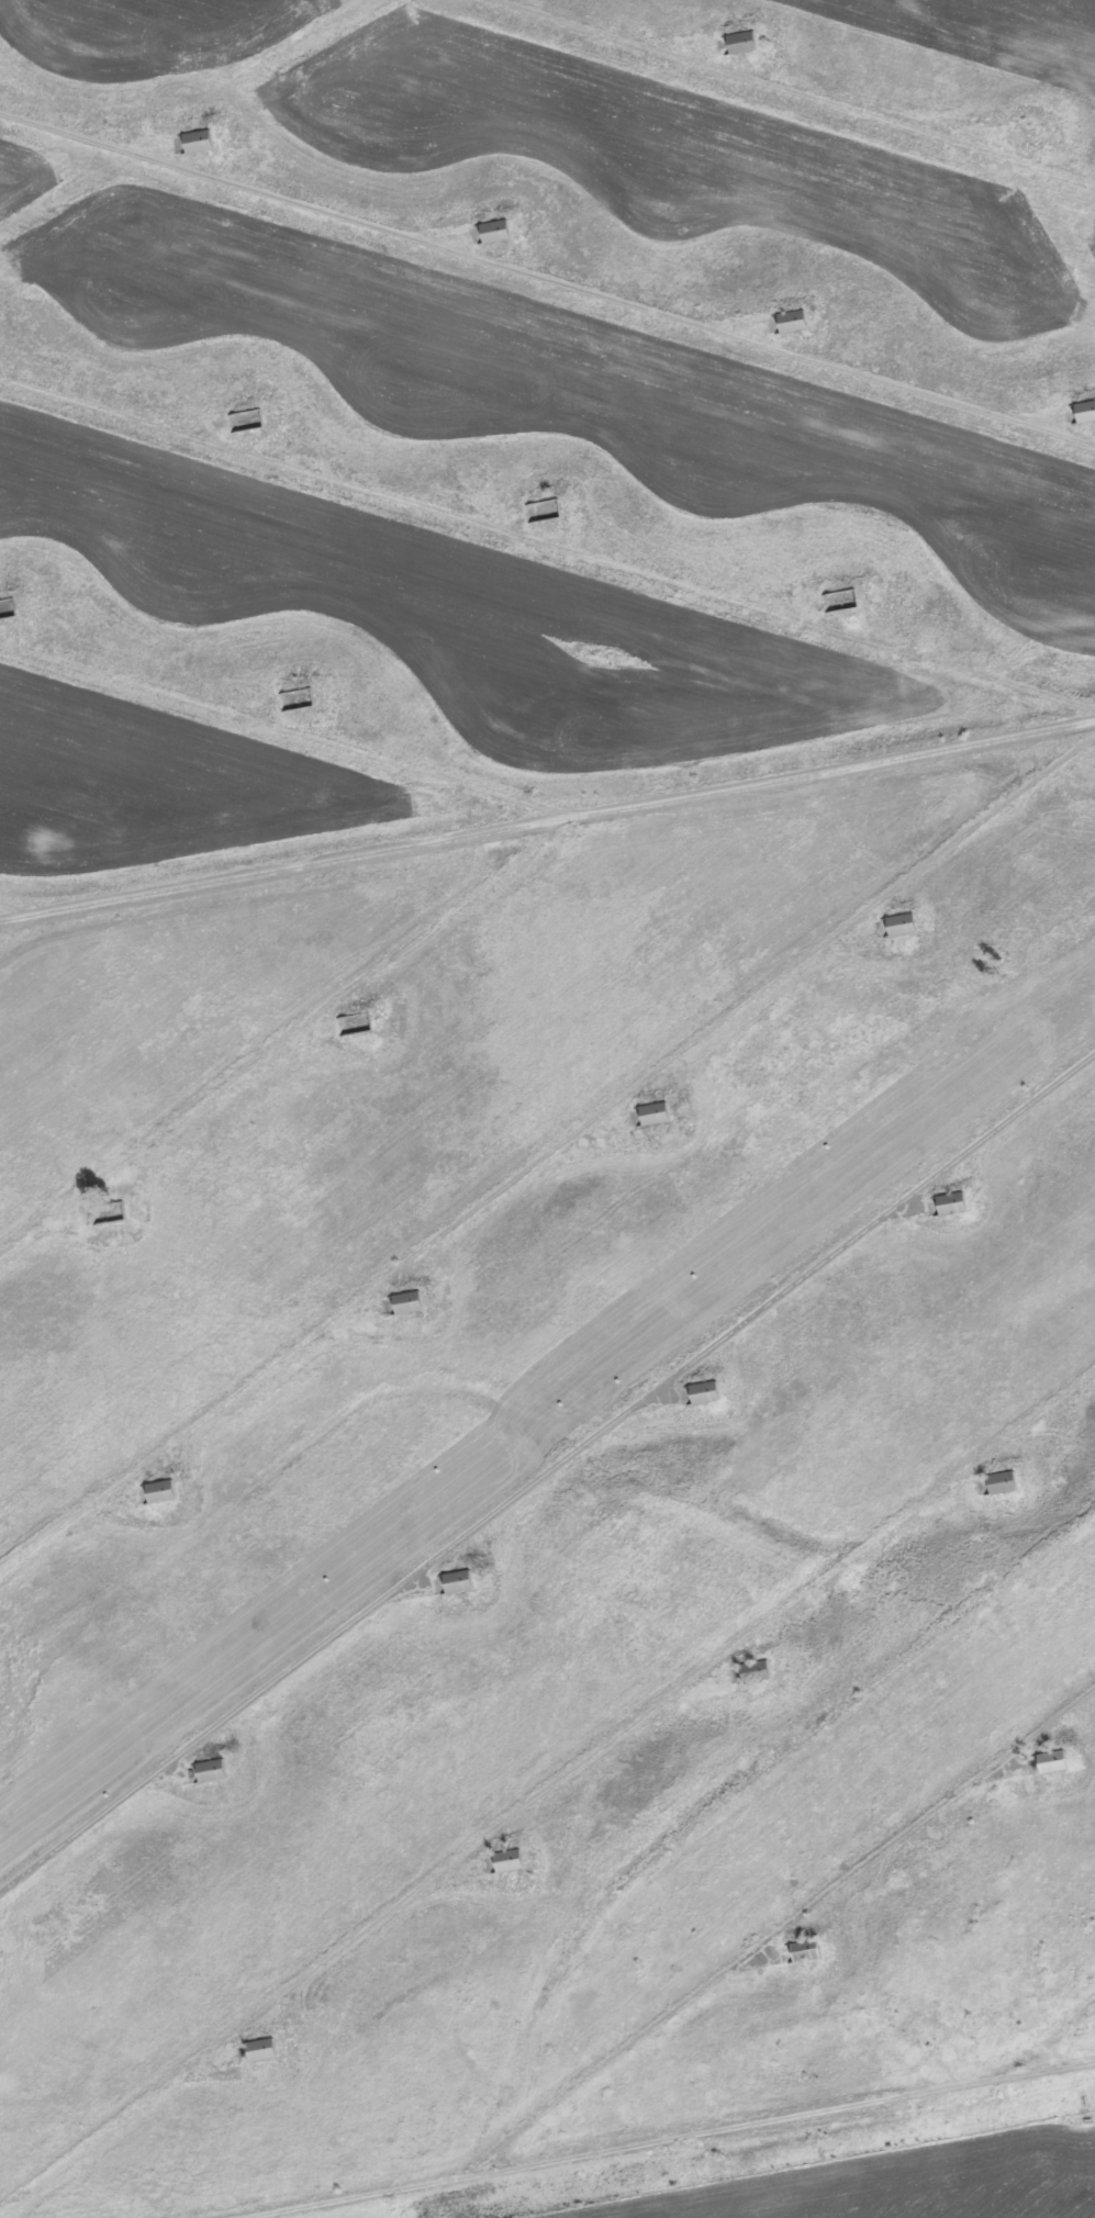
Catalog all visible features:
building: (741, 41)
road: (792, 89)
building: (198, 139)
building: (494, 229)
road: (547, 279)
building: (792, 320)
building: (1085, 410)
building: (245, 419)
road: (547, 547)
building: (7, 609)
building: (295, 698)
road: (288, 733)
road: (287, 871)
road: (496, 875)
road: (25, 919)
building: (901, 923)
road: (25, 934)
building: (653, 1112)
road: (546, 1156)
building: (951, 1202)
building: (407, 1301)
building: (704, 1391)
road: (546, 1471)
building: (1002, 1481)
building: (160, 1490)
building: (458, 1580)
building: (755, 1670)
building: (1051, 1760)
building: (211, 1769)
road: (546, 1791)
building: (507, 1859)
road: (785, 1928)
building: (805, 1949)
road: (1060, 2040)
building: (260, 2049)
road: (660, 2135)

